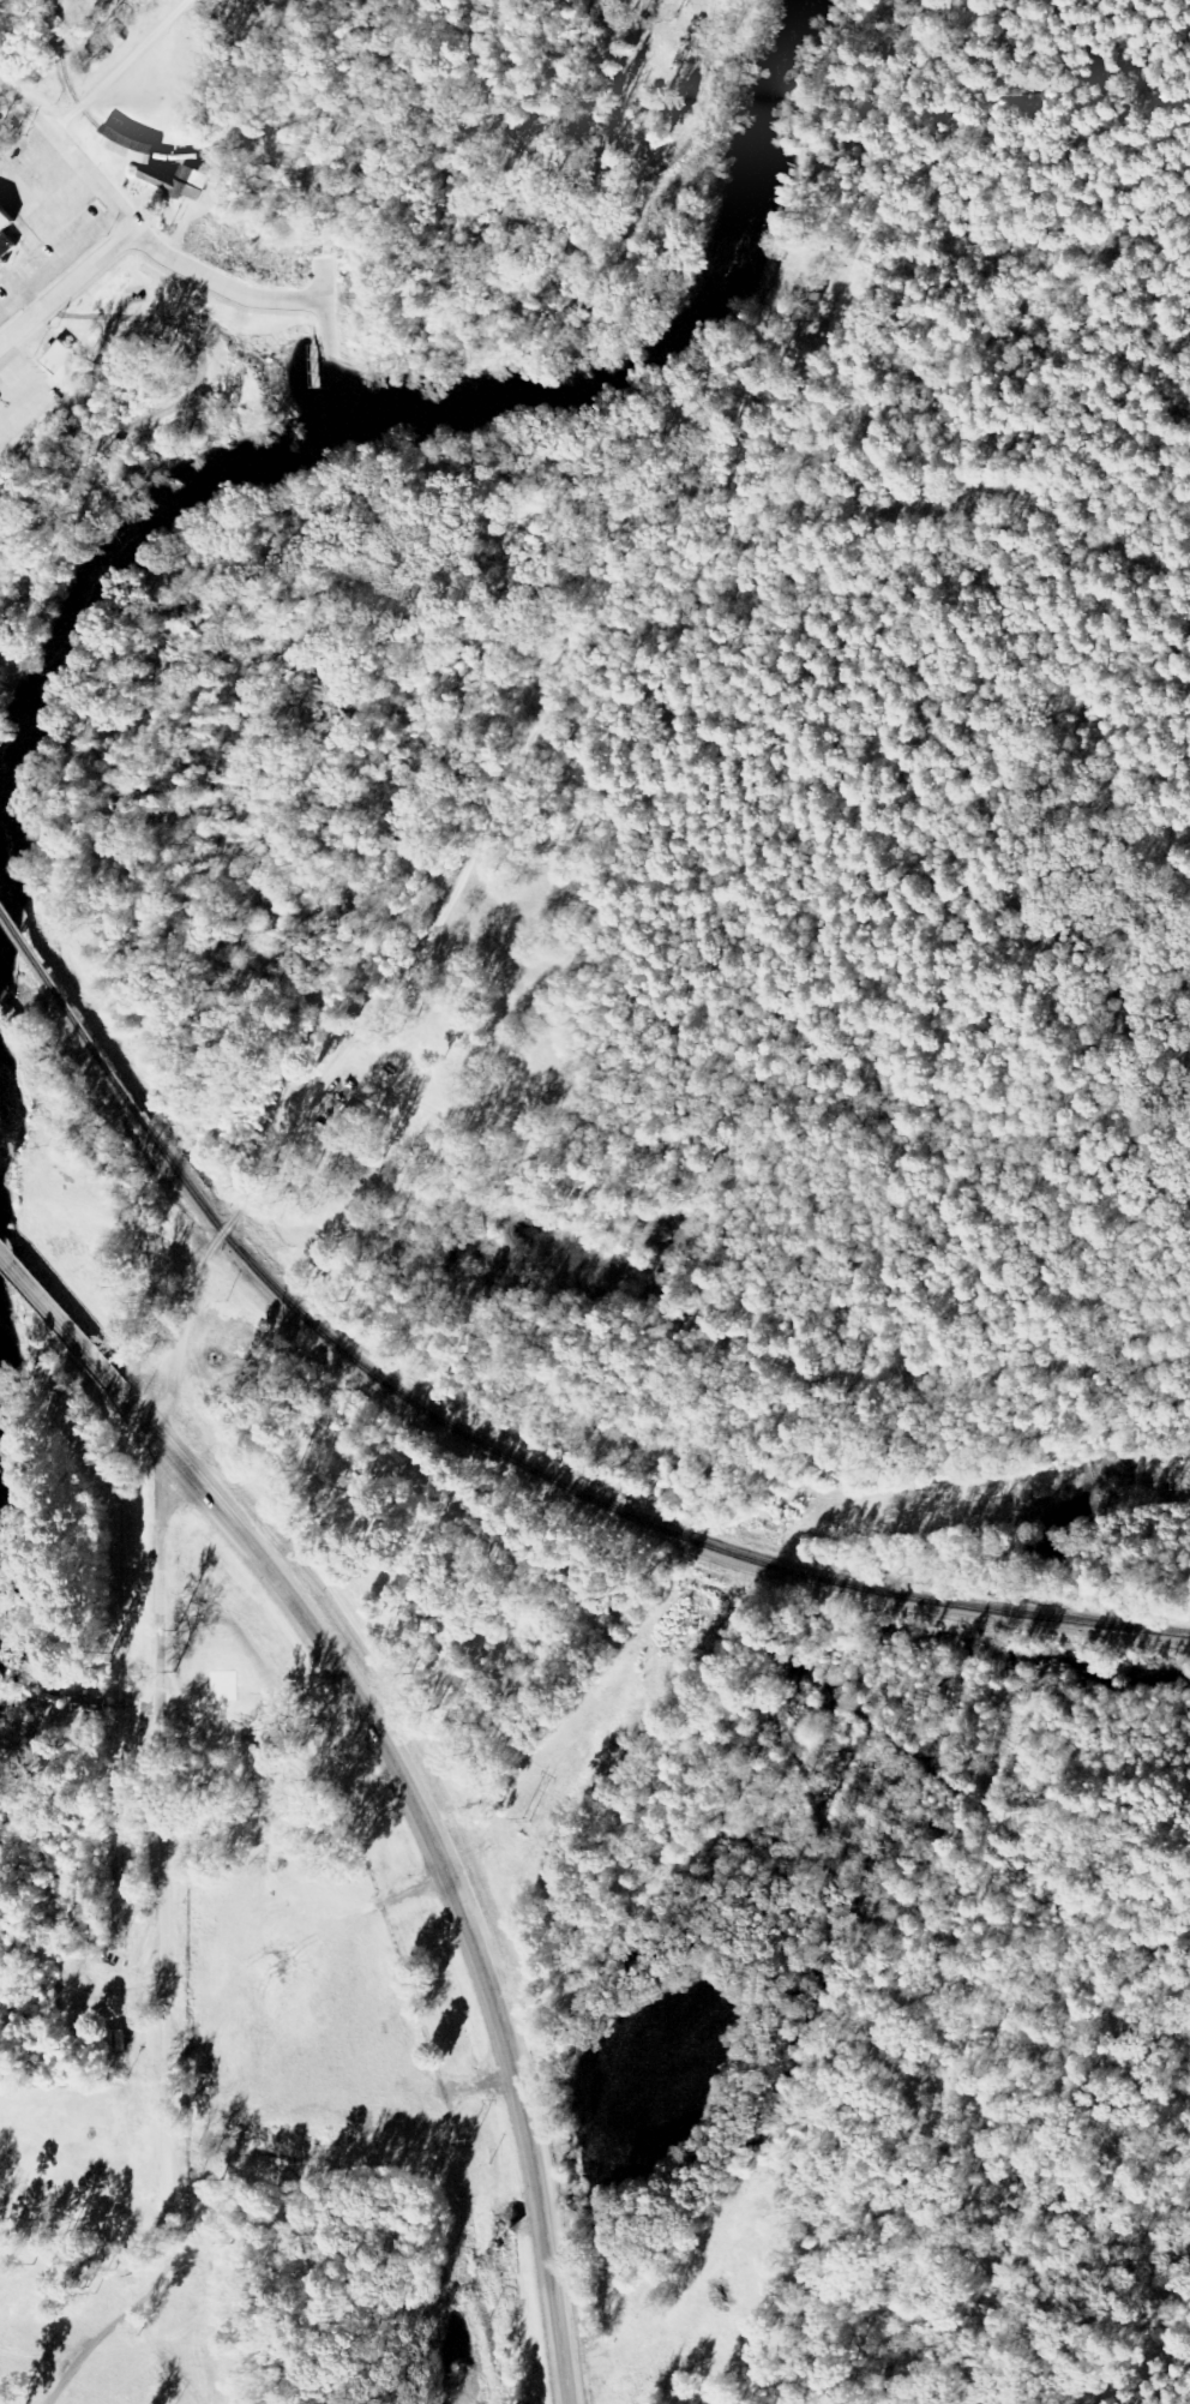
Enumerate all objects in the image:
railway: (415, 113)
railway: (238, 143)
road: (70, 154)
building: (164, 181)
parking lot: (42, 187)
railway: (594, 191)
road: (46, 212)
road: (50, 235)
building: (4, 236)
road: (19, 240)
parking lot: (53, 257)
road: (59, 263)
road: (4, 271)
road: (321, 281)
road: (66, 288)
road: (236, 293)
road: (30, 304)
building: (64, 361)
road: (168, 412)
river: (428, 421)
park: (122, 436)
railway: (68, 1013)
railway: (1, 1017)
railway: (30, 1057)
road: (212, 1248)
road: (58, 1321)
power tower: (1180, 1480)
railway: (597, 1503)
road: (220, 1510)
power tower: (781, 1511)
power tower: (669, 1649)
building: (84, 1698)
power tower: (523, 1822)
road: (162, 1850)
road: (362, 1901)
road: (495, 2003)
power tower: (473, 2138)

